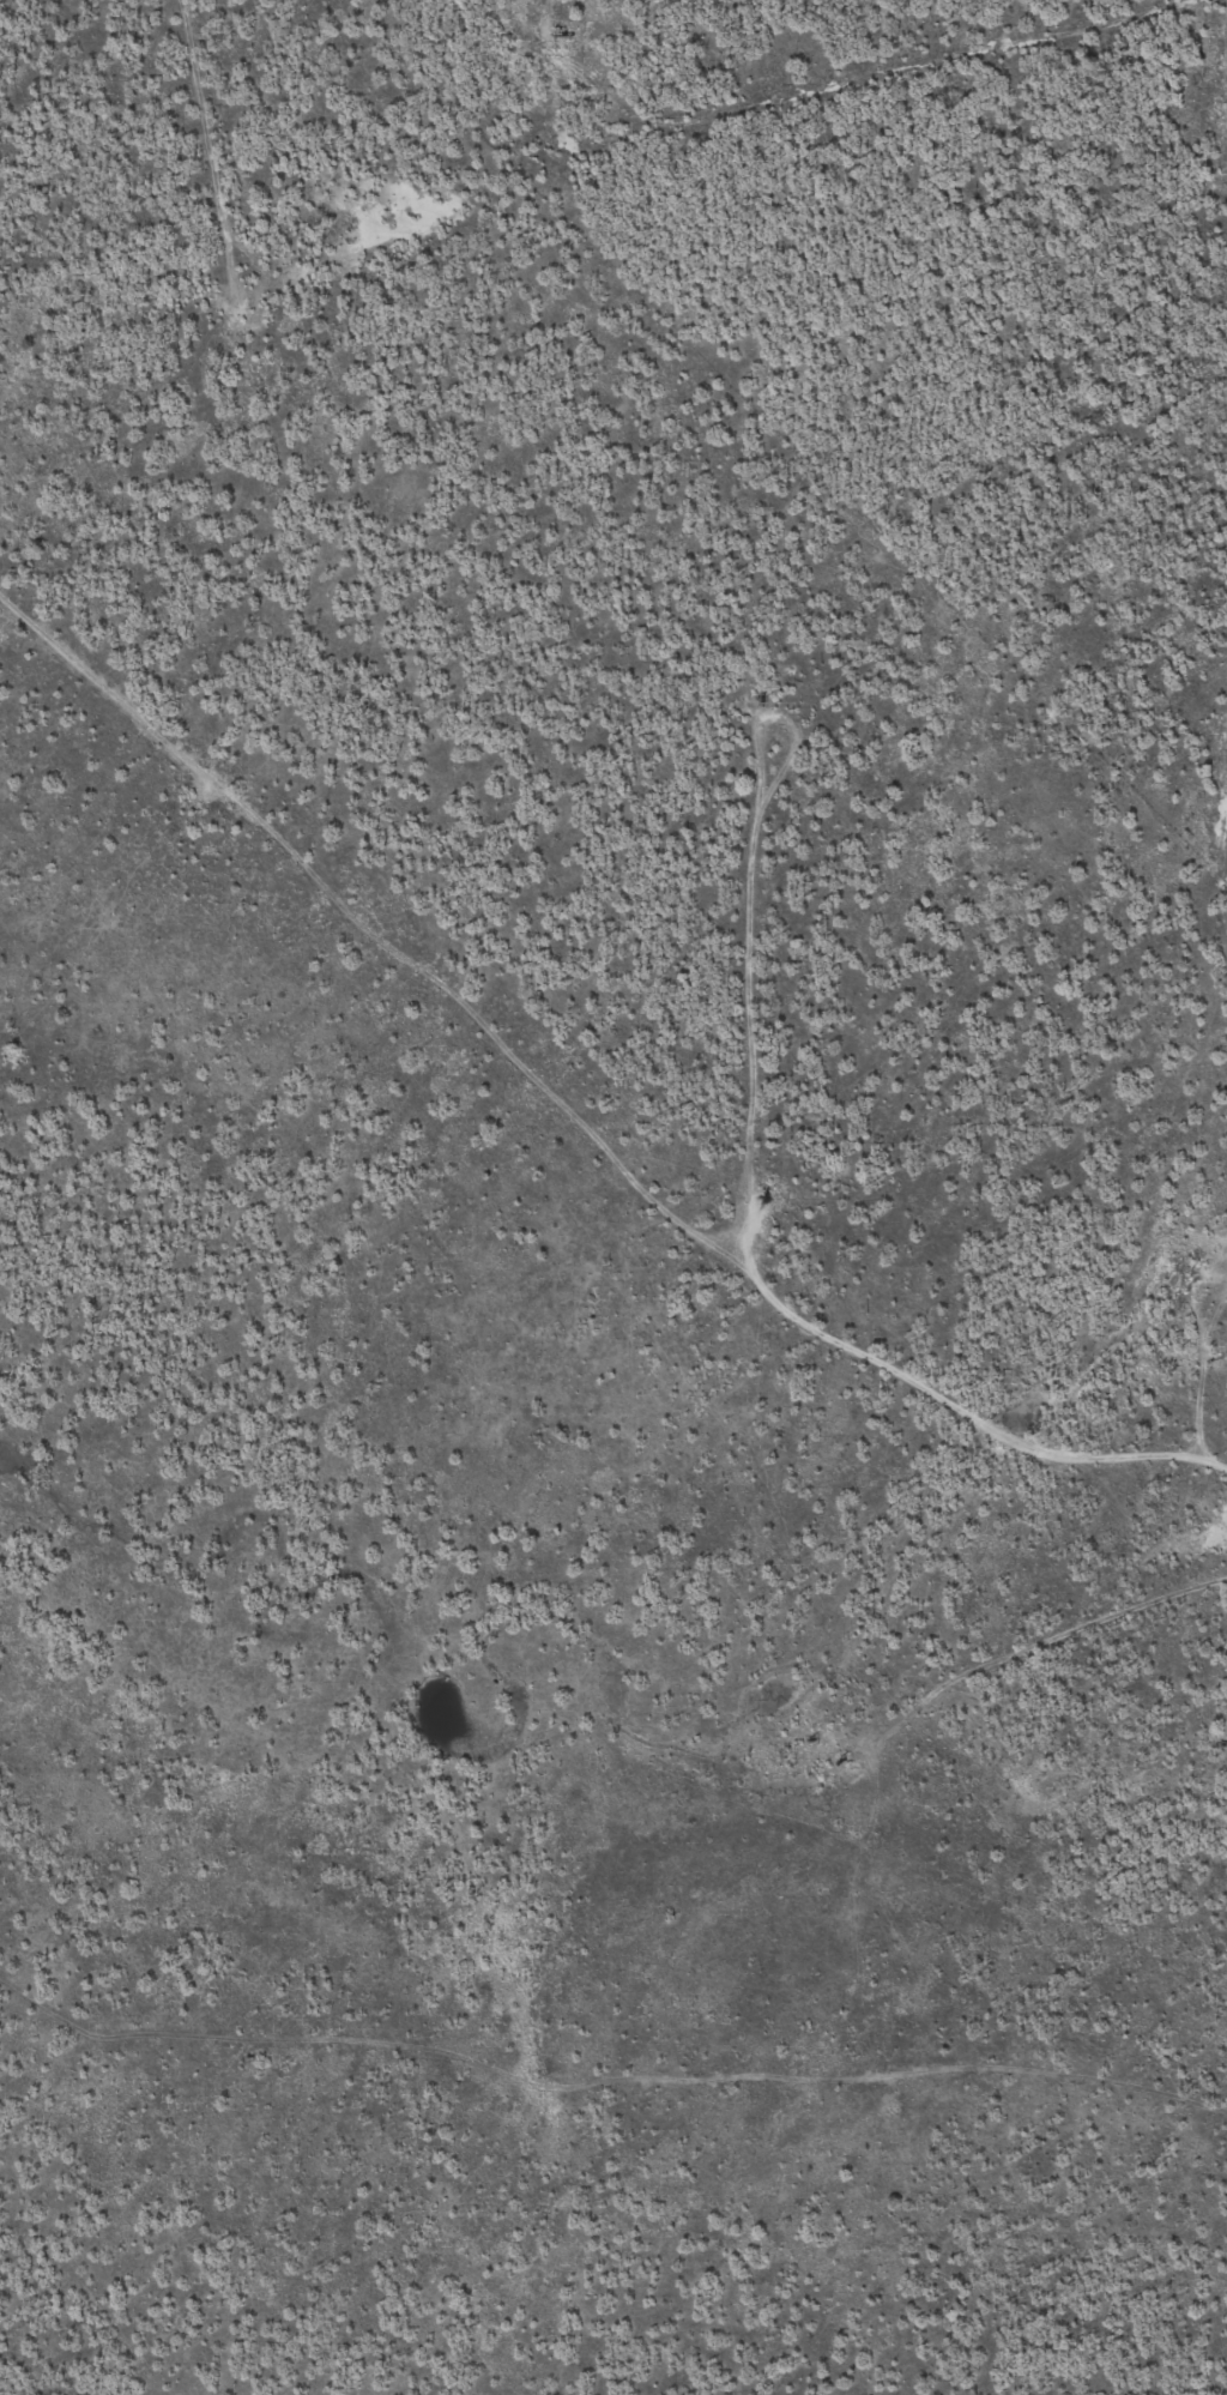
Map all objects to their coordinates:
road: (1040, 1645)
road: (1148, 2328)

